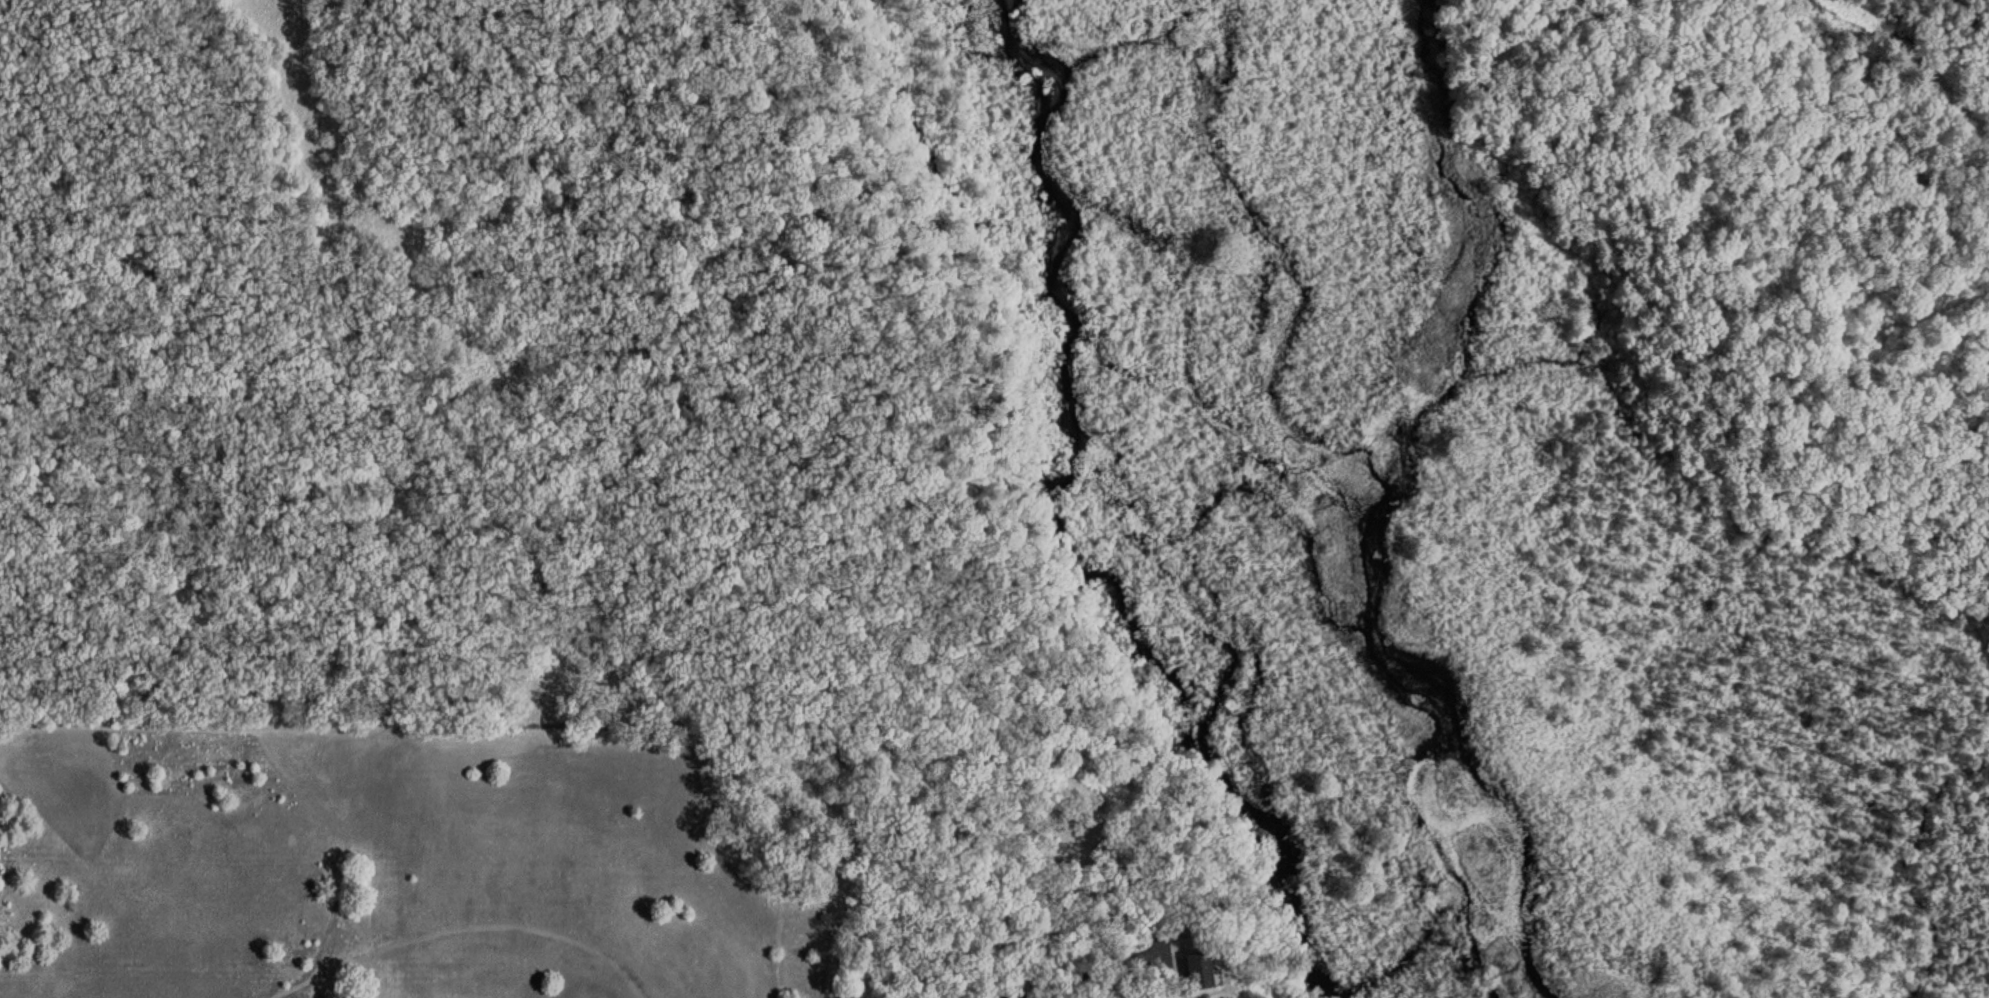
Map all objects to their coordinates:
road: (842, 906)
road: (1092, 967)
building: (1193, 970)

